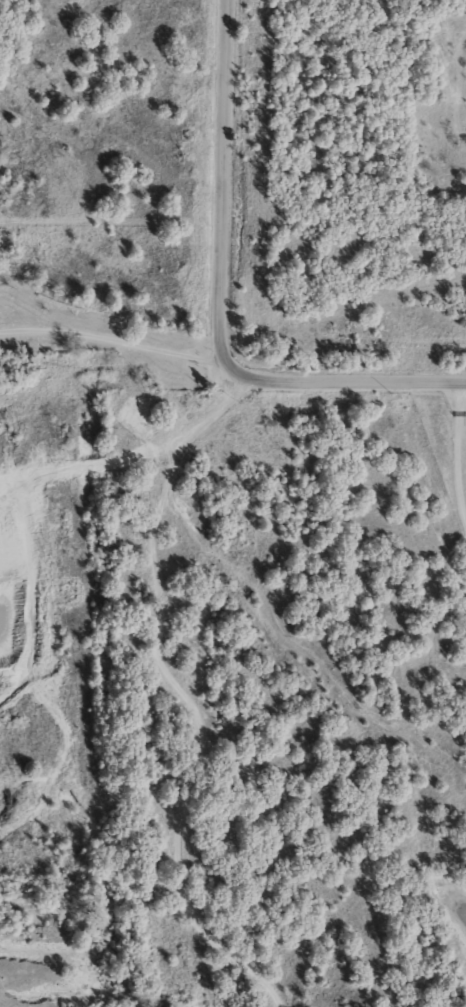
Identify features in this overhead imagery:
road: (220, 195)
road: (111, 339)
road: (356, 382)
road: (454, 458)
road: (192, 695)

